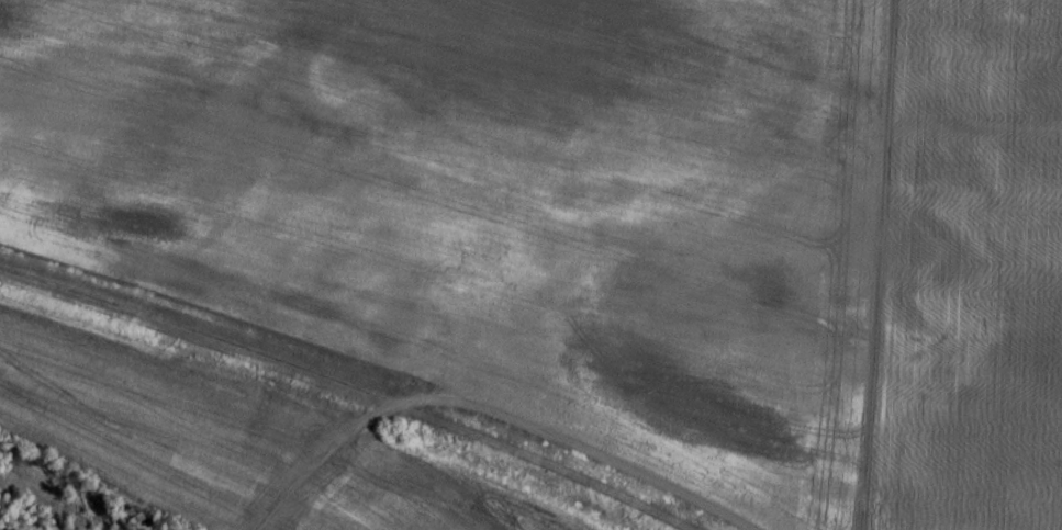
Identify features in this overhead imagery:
road: (357, 386)
road: (327, 464)

